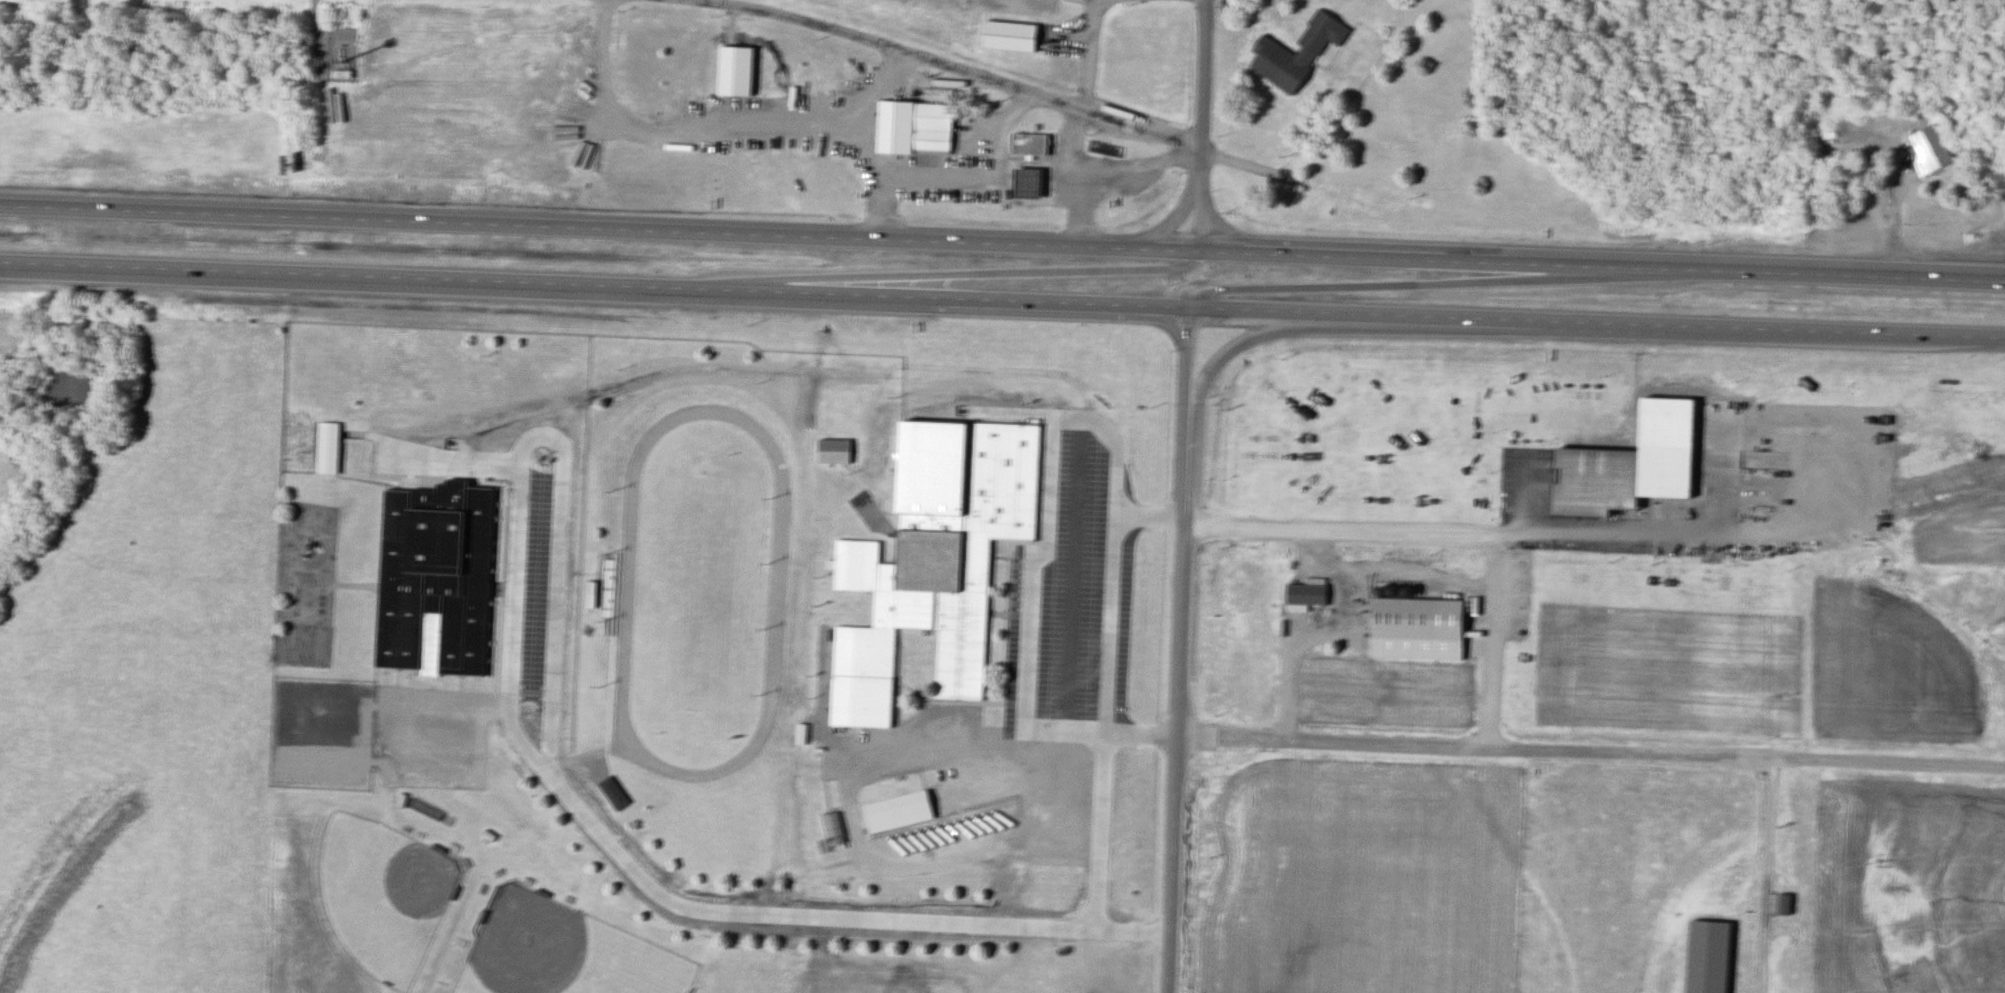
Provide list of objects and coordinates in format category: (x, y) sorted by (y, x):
building: (1013, 38)
road: (1085, 51)
building: (1275, 54)
road: (950, 69)
building: (739, 73)
road: (864, 91)
road: (1203, 91)
road: (792, 124)
building: (910, 133)
building: (1031, 146)
building: (1932, 151)
road: (1031, 162)
road: (1138, 163)
road: (1297, 167)
road: (1075, 178)
building: (1030, 185)
road: (877, 207)
road: (1897, 215)
road: (1195, 218)
road: (1161, 228)
road: (1002, 246)
road: (921, 274)
road: (1423, 282)
road: (1002, 303)
road: (1243, 338)
road: (1190, 357)
road: (536, 428)
building: (831, 449)
building: (329, 450)
building: (1621, 480)
road: (1678, 529)
crop: (1961, 531)
road: (1047, 547)
building: (930, 559)
road: (1070, 575)
building: (434, 577)
park: (695, 591)
building: (1309, 594)
track: (775, 595)
building: (859, 617)
road: (1109, 624)
road: (1315, 632)
road: (1490, 642)
road: (1179, 698)
building: (962, 718)
road: (934, 745)
road: (1746, 759)
building: (610, 790)
building: (895, 810)
road: (1099, 831)
building: (834, 836)
crop: (1358, 875)
road: (1764, 876)
crop: (1907, 886)
park: (380, 893)
building: (1784, 908)
road: (826, 917)
park: (559, 951)
building: (1710, 958)

